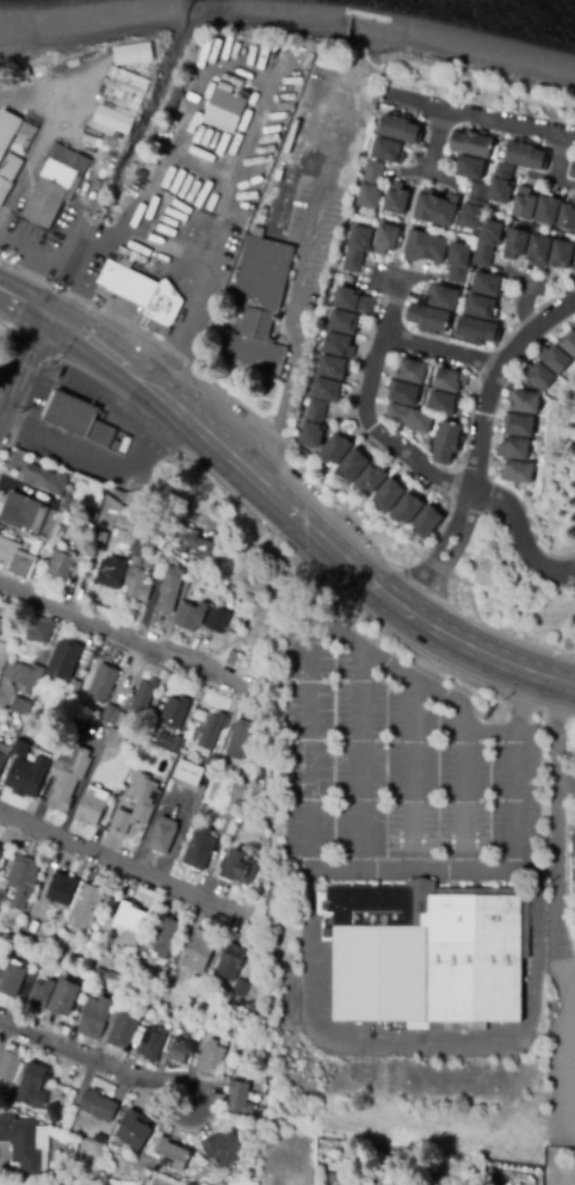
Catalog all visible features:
river: (549, 5)
pier: (370, 14)
pier: (347, 33)
building: (131, 54)
road: (209, 67)
road: (476, 86)
park: (481, 92)
road: (443, 97)
building: (119, 103)
building: (223, 112)
road: (481, 119)
building: (401, 129)
building: (8, 130)
road: (63, 131)
road: (433, 141)
building: (472, 143)
building: (388, 150)
building: (526, 155)
road: (557, 156)
building: (470, 168)
building: (573, 171)
road: (426, 172)
road: (552, 177)
building: (501, 184)
building: (56, 185)
building: (371, 186)
building: (396, 199)
building: (524, 204)
building: (474, 206)
building: (435, 209)
building: (546, 211)
road: (4, 216)
building: (568, 217)
road: (79, 221)
building: (260, 223)
road: (404, 224)
building: (385, 239)
building: (487, 243)
building: (515, 245)
building: (425, 247)
building: (358, 248)
building: (538, 251)
building: (561, 254)
building: (574, 260)
building: (458, 263)
building: (258, 276)
road: (397, 279)
building: (131, 282)
building: (487, 285)
road: (295, 297)
building: (443, 297)
road: (16, 298)
building: (353, 301)
road: (518, 304)
building: (480, 307)
road: (43, 313)
road: (181, 316)
traffic signals: (55, 319)
building: (428, 320)
building: (344, 322)
building: (254, 327)
building: (478, 332)
building: (569, 342)
building: (339, 346)
road: (441, 347)
building: (255, 358)
building: (554, 359)
road: (21, 365)
building: (333, 368)
building: (412, 371)
road: (493, 376)
building: (538, 376)
building: (450, 381)
building: (326, 390)
building: (404, 394)
building: (523, 402)
building: (444, 403)
road: (364, 411)
building: (82, 416)
building: (409, 419)
building: (314, 425)
building: (519, 426)
building: (447, 443)
building: (513, 449)
building: (335, 450)
road: (99, 464)
building: (352, 465)
building: (517, 473)
building: (44, 476)
building: (371, 479)
building: (389, 495)
building: (70, 505)
building: (407, 510)
building: (21, 511)
building: (427, 521)
road: (302, 524)
road: (519, 532)
building: (194, 544)
building: (95, 547)
building: (85, 548)
building: (138, 549)
road: (438, 550)
building: (13, 558)
building: (156, 563)
building: (80, 566)
building: (60, 567)
building: (110, 574)
building: (197, 575)
building: (136, 586)
building: (169, 590)
building: (188, 593)
building: (191, 616)
building: (217, 621)
building: (1, 624)
building: (37, 630)
road: (128, 638)
building: (4, 656)
building: (231, 658)
building: (68, 667)
building: (23, 675)
road: (416, 680)
building: (103, 683)
building: (142, 697)
building: (19, 706)
building: (174, 711)
building: (109, 714)
building: (120, 721)
building: (210, 730)
road: (557, 735)
building: (240, 737)
building: (115, 739)
building: (169, 742)
building: (20, 748)
building: (1, 760)
road: (363, 761)
building: (188, 773)
building: (67, 776)
building: (27, 777)
road: (414, 777)
road: (565, 786)
building: (240, 788)
road: (466, 802)
building: (137, 806)
building: (91, 807)
building: (249, 820)
building: (162, 835)
building: (573, 844)
building: (199, 848)
building: (1, 851)
building: (1, 856)
road: (120, 862)
building: (239, 868)
road: (558, 872)
road: (351, 874)
building: (23, 881)
building: (61, 889)
building: (2, 897)
building: (85, 907)
building: (49, 913)
building: (37, 922)
building: (130, 922)
building: (163, 937)
building: (198, 952)
building: (428, 955)
building: (230, 962)
building: (2, 968)
building: (140, 973)
road: (565, 973)
building: (103, 974)
building: (12, 981)
building: (113, 981)
road: (573, 986)
building: (126, 988)
building: (241, 988)
building: (36, 993)
building: (64, 1000)
building: (112, 1017)
building: (94, 1018)
building: (123, 1030)
building: (153, 1042)
road: (429, 1044)
building: (179, 1050)
building: (211, 1057)
road: (95, 1060)
road: (570, 1063)
building: (10, 1064)
building: (32, 1087)
building: (239, 1098)
building: (98, 1106)
building: (134, 1130)
building: (99, 1138)
building: (21, 1147)
building: (223, 1148)
building: (146, 1152)
building: (169, 1153)

